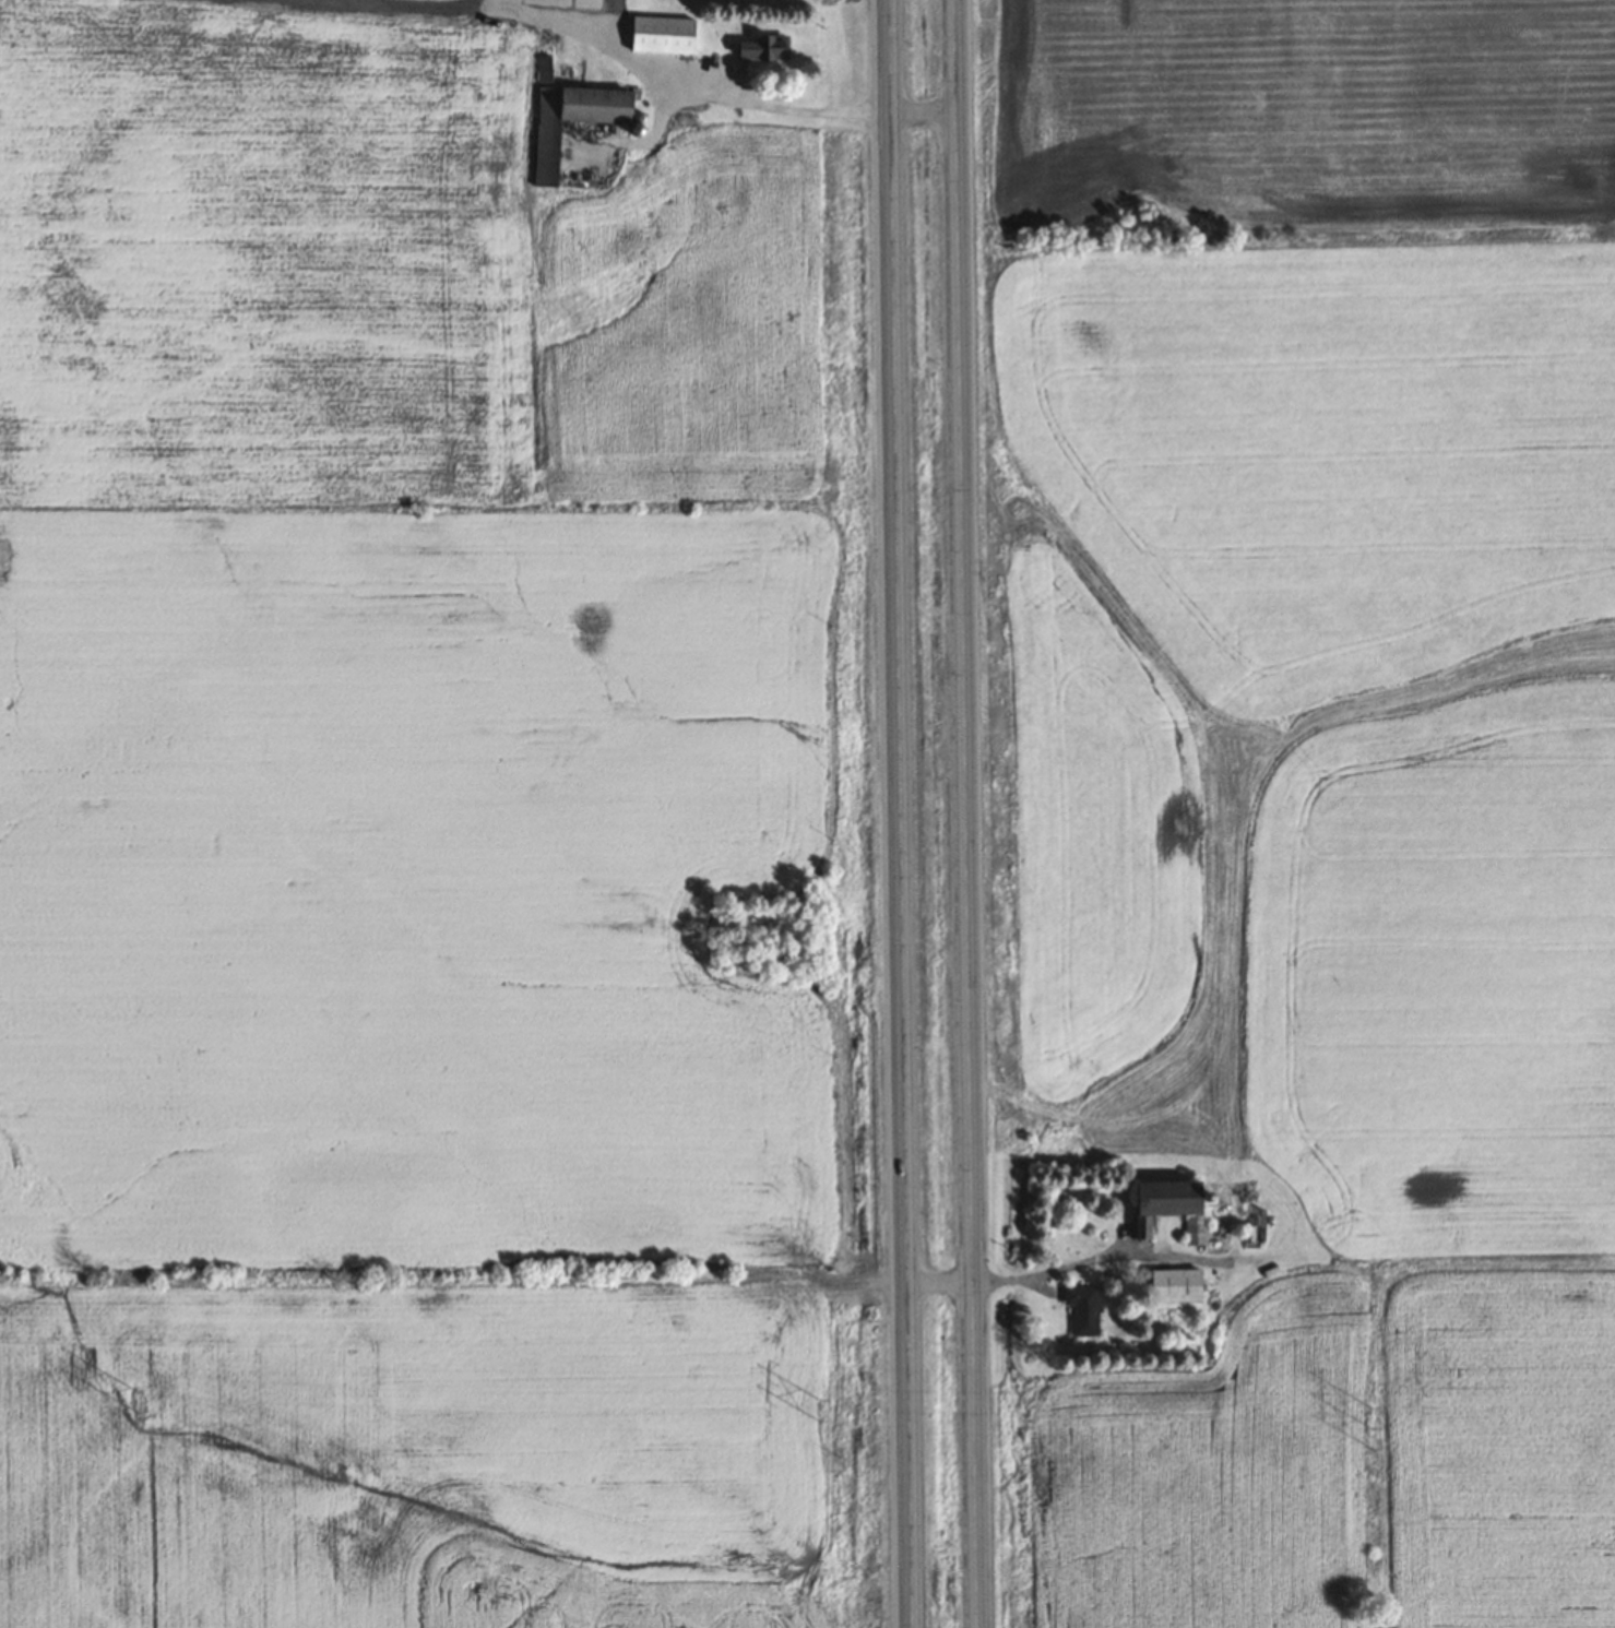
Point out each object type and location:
building: (661, 35)
building: (763, 48)
building: (568, 117)
road: (900, 813)
road: (964, 813)
building: (1168, 1207)
building: (1174, 1284)
building: (1082, 1308)
power tower: (136, 1399)
power tower: (819, 1407)
power tower: (1376, 1427)

